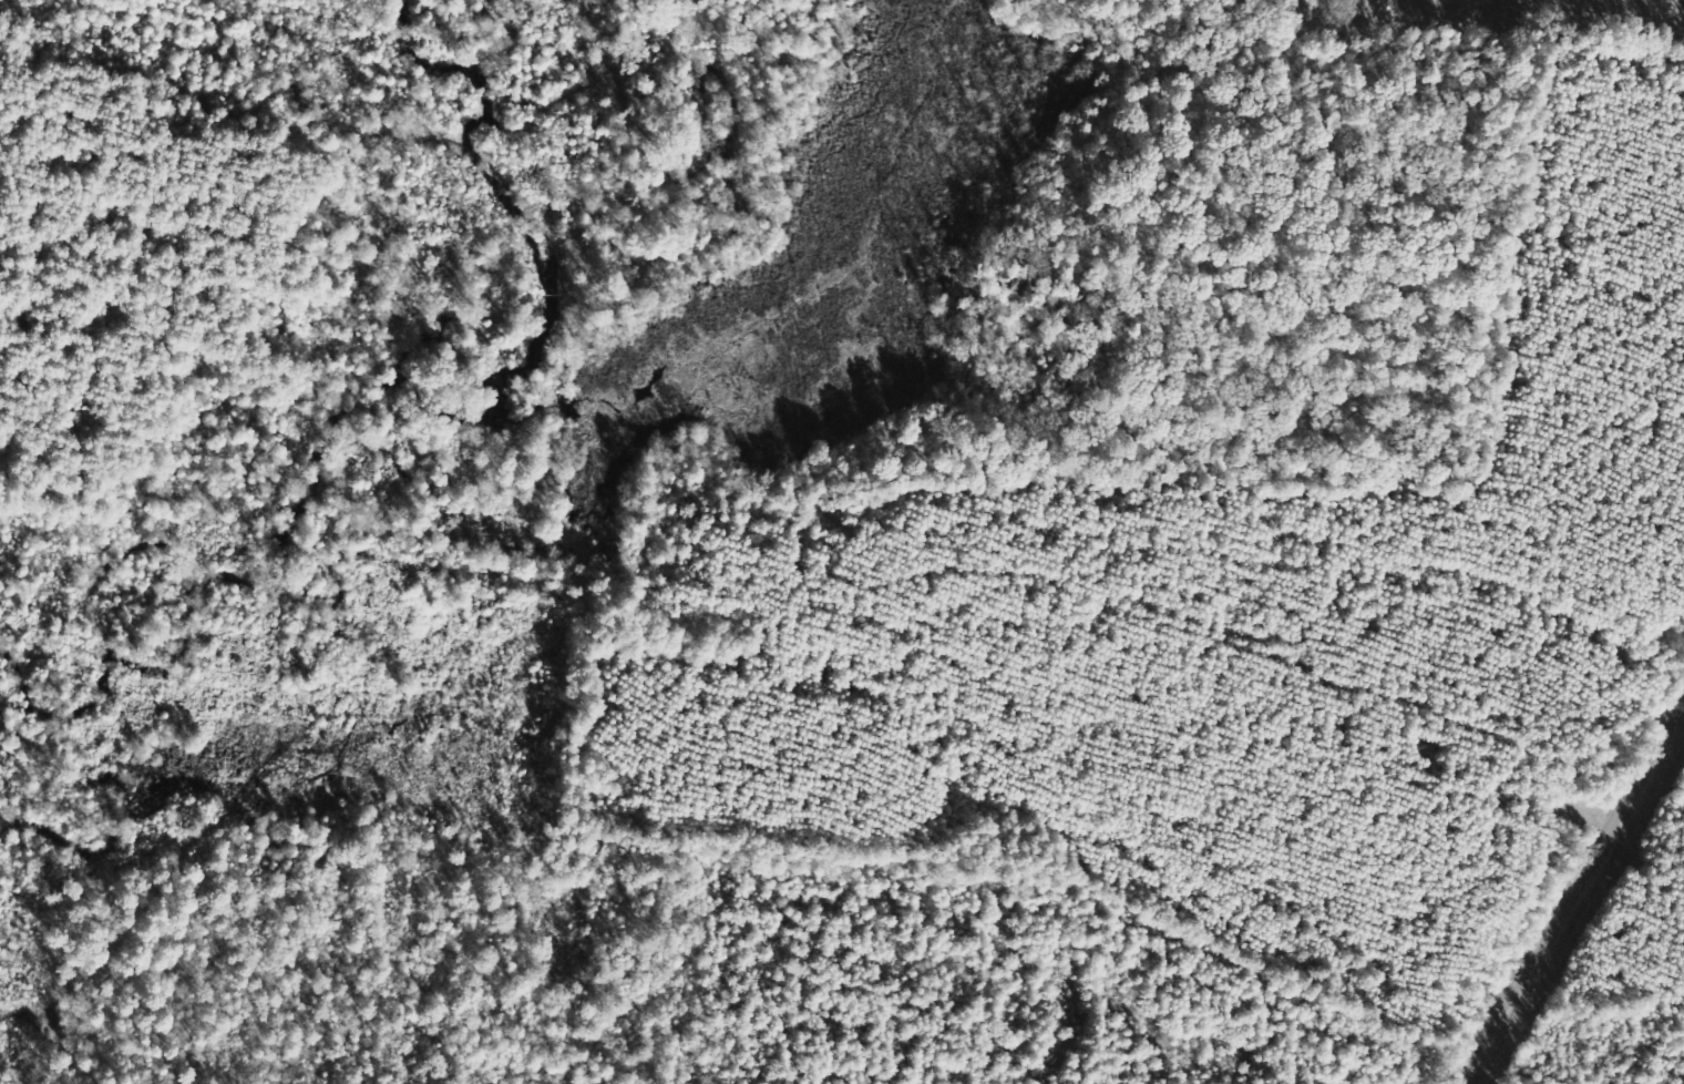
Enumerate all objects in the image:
road: (1611, 960)

